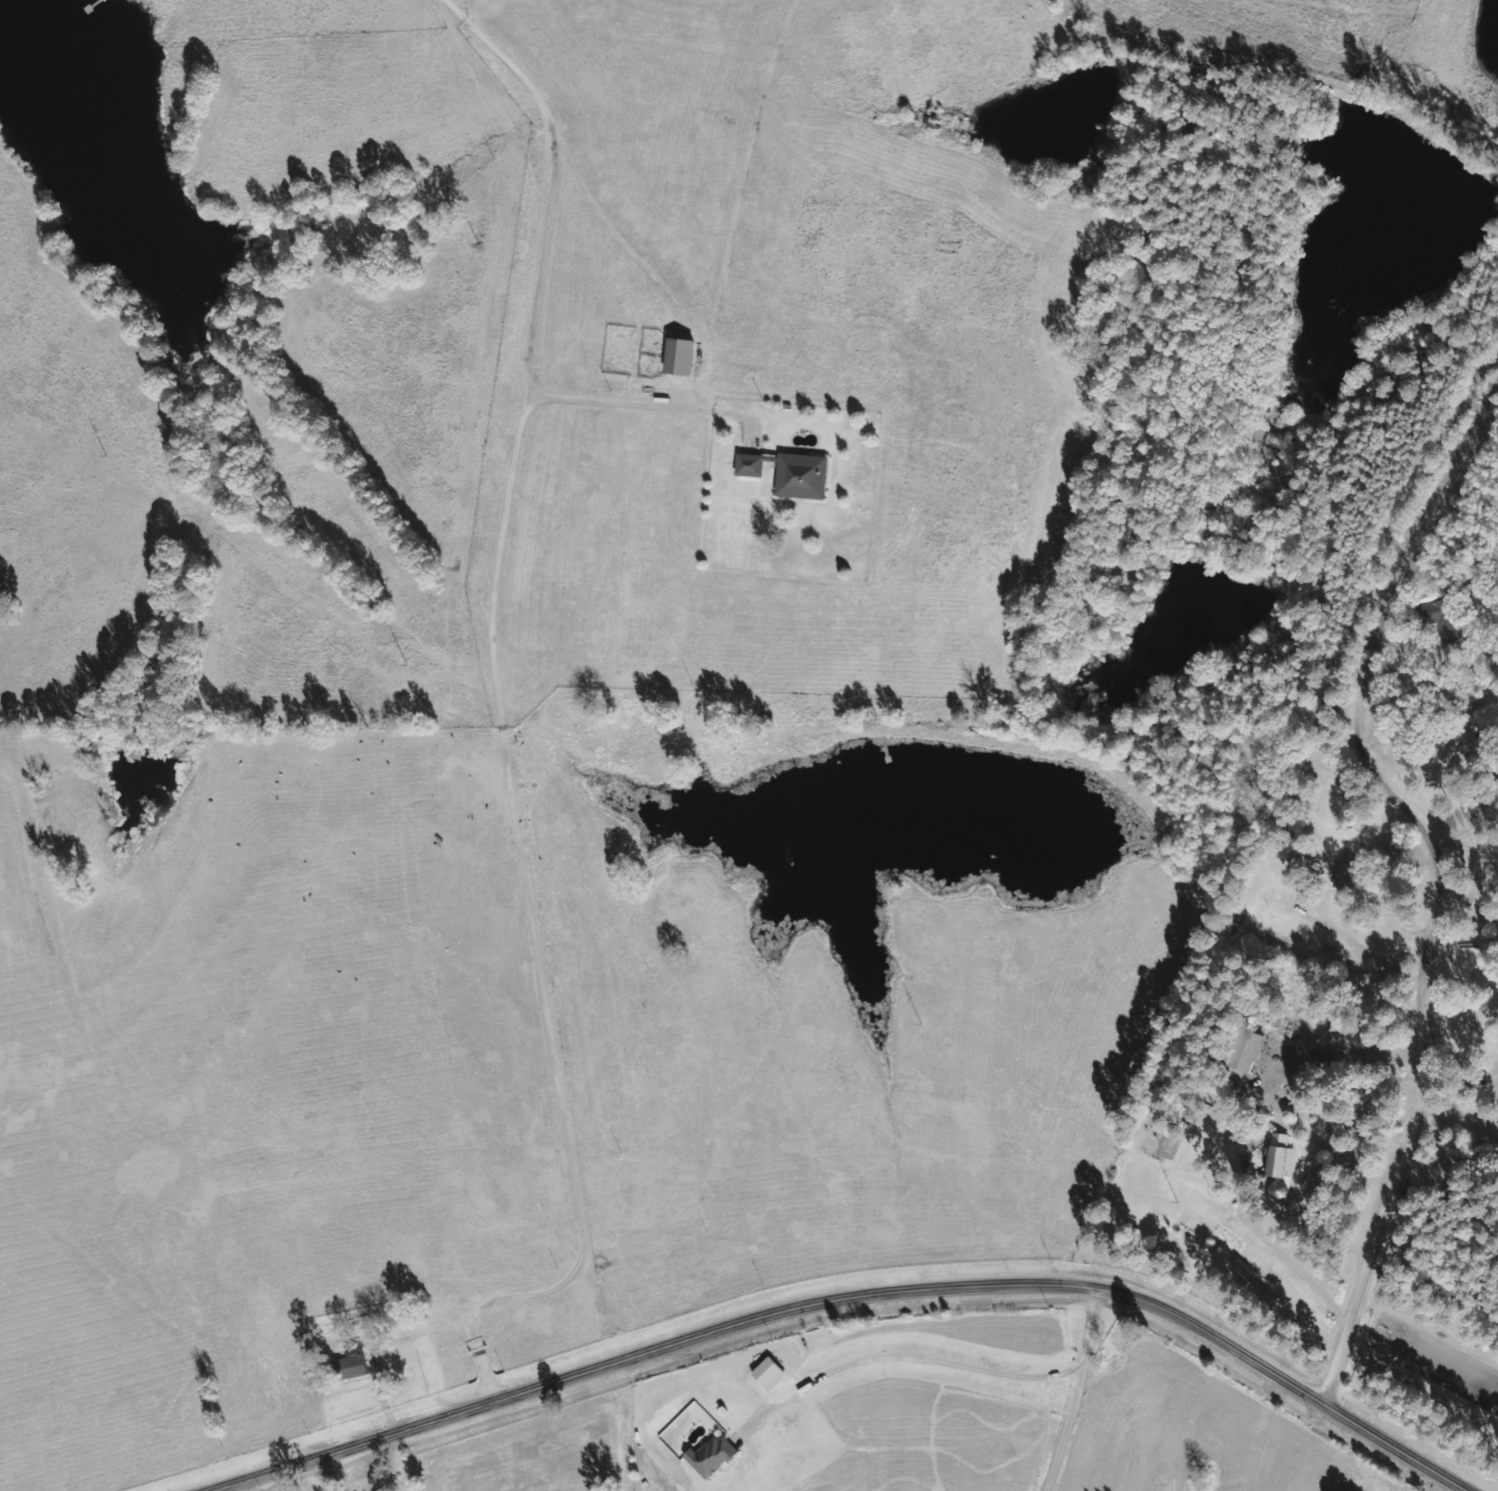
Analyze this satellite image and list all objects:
building: (679, 355)
building: (750, 465)
building: (802, 475)
road: (1421, 533)
building: (1487, 716)
road: (1427, 1040)
building: (1247, 1051)
building: (1281, 1156)
road: (855, 1299)
building: (350, 1367)
building: (711, 1456)

